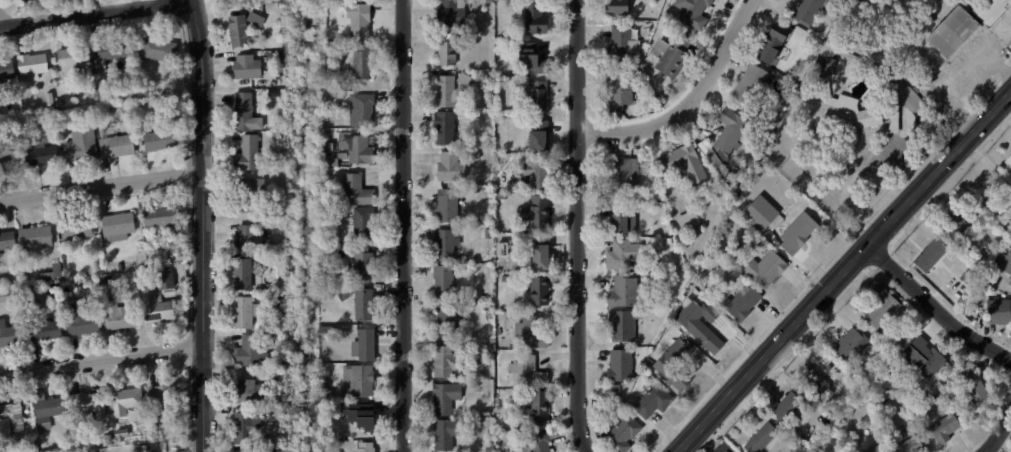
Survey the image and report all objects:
building: (22, 0)
building: (26, 1)
building: (492, 1)
building: (620, 7)
building: (813, 10)
building: (994, 10)
building: (454, 13)
building: (696, 13)
road: (95, 15)
building: (258, 18)
building: (360, 19)
building: (537, 19)
building: (241, 31)
building: (955, 33)
building: (775, 43)
building: (623, 45)
building: (160, 50)
building: (450, 50)
building: (113, 52)
building: (674, 55)
building: (278, 59)
building: (74, 60)
building: (828, 60)
building: (534, 61)
building: (365, 62)
building: (34, 65)
building: (249, 67)
building: (7, 70)
building: (755, 85)
building: (338, 86)
building: (887, 86)
building: (453, 89)
building: (623, 89)
building: (539, 94)
road: (911, 98)
road: (690, 103)
building: (360, 107)
building: (246, 111)
building: (854, 115)
building: (898, 122)
building: (326, 125)
building: (276, 127)
building: (448, 128)
building: (540, 136)
building: (30, 138)
building: (162, 141)
building: (730, 143)
building: (119, 146)
building: (82, 147)
building: (360, 148)
building: (330, 150)
building: (250, 154)
building: (43, 155)
building: (10, 158)
building: (1008, 161)
building: (687, 164)
building: (453, 168)
road: (862, 172)
building: (539, 173)
building: (624, 178)
power tower: (494, 179)
road: (100, 186)
building: (255, 188)
building: (356, 190)
building: (504, 194)
building: (449, 206)
building: (540, 212)
building: (759, 213)
building: (163, 219)
building: (626, 220)
building: (692, 221)
building: (365, 223)
road: (200, 225)
road: (402, 226)
road: (577, 226)
building: (957, 226)
building: (120, 227)
building: (78, 229)
building: (801, 233)
building: (37, 238)
building: (250, 238)
building: (8, 241)
building: (671, 242)
building: (448, 245)
building: (545, 255)
building: (626, 255)
building: (928, 255)
building: (473, 257)
building: (1003, 263)
building: (366, 265)
building: (769, 270)
road: (841, 271)
building: (250, 272)
building: (54, 274)
building: (166, 279)
building: (446, 281)
building: (5, 283)
building: (1009, 284)
building: (28, 292)
building: (344, 292)
building: (542, 292)
building: (626, 292)
building: (976, 294)
building: (8, 296)
building: (282, 299)
building: (745, 303)
building: (366, 306)
building: (880, 306)
building: (158, 308)
building: (490, 308)
road: (933, 308)
building: (996, 310)
building: (247, 313)
building: (120, 316)
building: (490, 316)
building: (971, 316)
building: (451, 320)
building: (84, 324)
building: (630, 324)
building: (702, 327)
building: (48, 330)
building: (327, 333)
building: (534, 333)
building: (10, 336)
building: (509, 341)
building: (848, 342)
building: (369, 346)
building: (253, 352)
road: (100, 359)
building: (451, 361)
building: (923, 362)
building: (894, 364)
building: (677, 366)
building: (623, 367)
building: (532, 373)
building: (886, 374)
building: (816, 379)
building: (360, 382)
building: (970, 383)
building: (250, 393)
building: (165, 399)
building: (448, 399)
building: (127, 402)
building: (657, 402)
building: (784, 406)
building: (90, 407)
building: (540, 409)
building: (50, 410)
building: (489, 414)
building: (908, 416)
building: (13, 417)
building: (363, 423)
building: (157, 426)
building: (250, 427)
building: (329, 428)
building: (118, 429)
building: (943, 429)
road: (999, 432)
power tower: (494, 434)
building: (626, 434)
building: (448, 435)
building: (760, 438)
building: (109, 439)
building: (42, 441)
building: (542, 442)
building: (906, 445)
building: (368, 447)
building: (492, 448)
building: (873, 448)
building: (144, 449)
building: (341, 450)
building: (245, 451)

